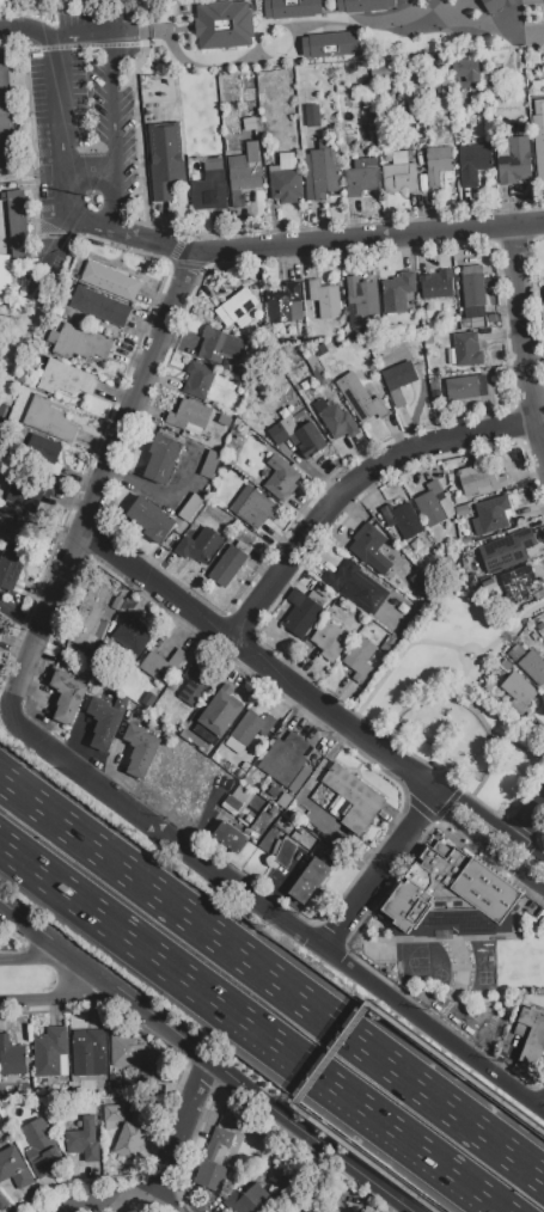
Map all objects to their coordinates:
power tower: (179, 4)
building: (361, 5)
building: (490, 6)
building: (271, 8)
building: (231, 17)
road: (26, 30)
road: (295, 32)
building: (361, 37)
building: (328, 43)
road: (82, 44)
building: (466, 68)
road: (110, 76)
building: (444, 96)
building: (247, 102)
parking lot: (77, 106)
road: (59, 108)
building: (312, 114)
building: (6, 117)
building: (249, 123)
park: (68, 137)
building: (512, 159)
building: (165, 160)
building: (540, 160)
building: (472, 163)
building: (436, 165)
building: (322, 169)
building: (244, 172)
road: (90, 175)
building: (361, 177)
building: (399, 178)
building: (285, 183)
building: (209, 186)
power tower: (97, 198)
road: (116, 202)
road: (74, 216)
building: (18, 227)
road: (127, 232)
road: (252, 232)
road: (369, 235)
power tower: (71, 243)
power tower: (74, 245)
road: (165, 245)
road: (175, 249)
road: (196, 265)
building: (5, 280)
building: (110, 280)
building: (438, 284)
building: (397, 292)
building: (473, 294)
building: (325, 298)
building: (360, 300)
building: (285, 304)
building: (100, 306)
building: (237, 306)
power tower: (25, 319)
power tower: (32, 325)
road: (524, 341)
building: (81, 342)
building: (221, 344)
building: (466, 349)
building: (322, 377)
building: (66, 378)
building: (197, 379)
building: (398, 379)
building: (466, 386)
road: (134, 390)
building: (361, 397)
power substation: (2, 415)
building: (189, 415)
building: (49, 418)
building: (336, 418)
building: (300, 437)
building: (42, 452)
building: (163, 457)
building: (210, 464)
building: (281, 477)
building: (478, 478)
road: (353, 486)
building: (26, 491)
building: (430, 503)
building: (190, 506)
building: (252, 507)
building: (463, 513)
building: (490, 514)
building: (151, 519)
building: (402, 519)
building: (23, 533)
building: (198, 545)
building: (371, 549)
building: (507, 549)
building: (230, 562)
building: (10, 568)
building: (420, 582)
building: (356, 586)
building: (520, 586)
building: (488, 587)
building: (97, 598)
building: (118, 602)
building: (302, 611)
road: (18, 616)
road: (37, 628)
building: (85, 628)
building: (0, 631)
road: (513, 631)
building: (133, 633)
building: (330, 637)
building: (514, 654)
road: (258, 657)
building: (359, 657)
road: (464, 661)
building: (161, 665)
road: (397, 665)
building: (505, 667)
building: (533, 668)
building: (496, 677)
building: (195, 684)
road: (464, 685)
building: (67, 694)
building: (519, 694)
park: (459, 708)
building: (219, 710)
road: (472, 710)
building: (104, 722)
building: (247, 729)
building: (140, 749)
building: (277, 753)
road: (416, 758)
building: (292, 763)
road: (540, 765)
road: (527, 790)
building: (353, 797)
building: (234, 800)
road: (526, 815)
road: (491, 821)
road: (515, 822)
building: (225, 832)
building: (238, 841)
road: (485, 843)
building: (286, 851)
road: (377, 871)
building: (310, 880)
building: (450, 887)
road: (282, 920)
road: (36, 956)
road: (103, 978)
road: (271, 978)
road: (61, 996)
road: (252, 1024)
building: (530, 1040)
building: (126, 1048)
building: (50, 1051)
building: (88, 1051)
building: (12, 1055)
road: (330, 1055)
building: (145, 1073)
building: (117, 1114)
road: (524, 1116)
road: (173, 1131)
road: (305, 1134)
building: (135, 1137)
building: (87, 1141)
building: (44, 1150)
building: (214, 1161)
building: (16, 1169)
building: (292, 1182)
building: (247, 1199)
road: (102, 1201)
building: (4, 1204)
road: (149, 1208)
road: (438, 1210)

